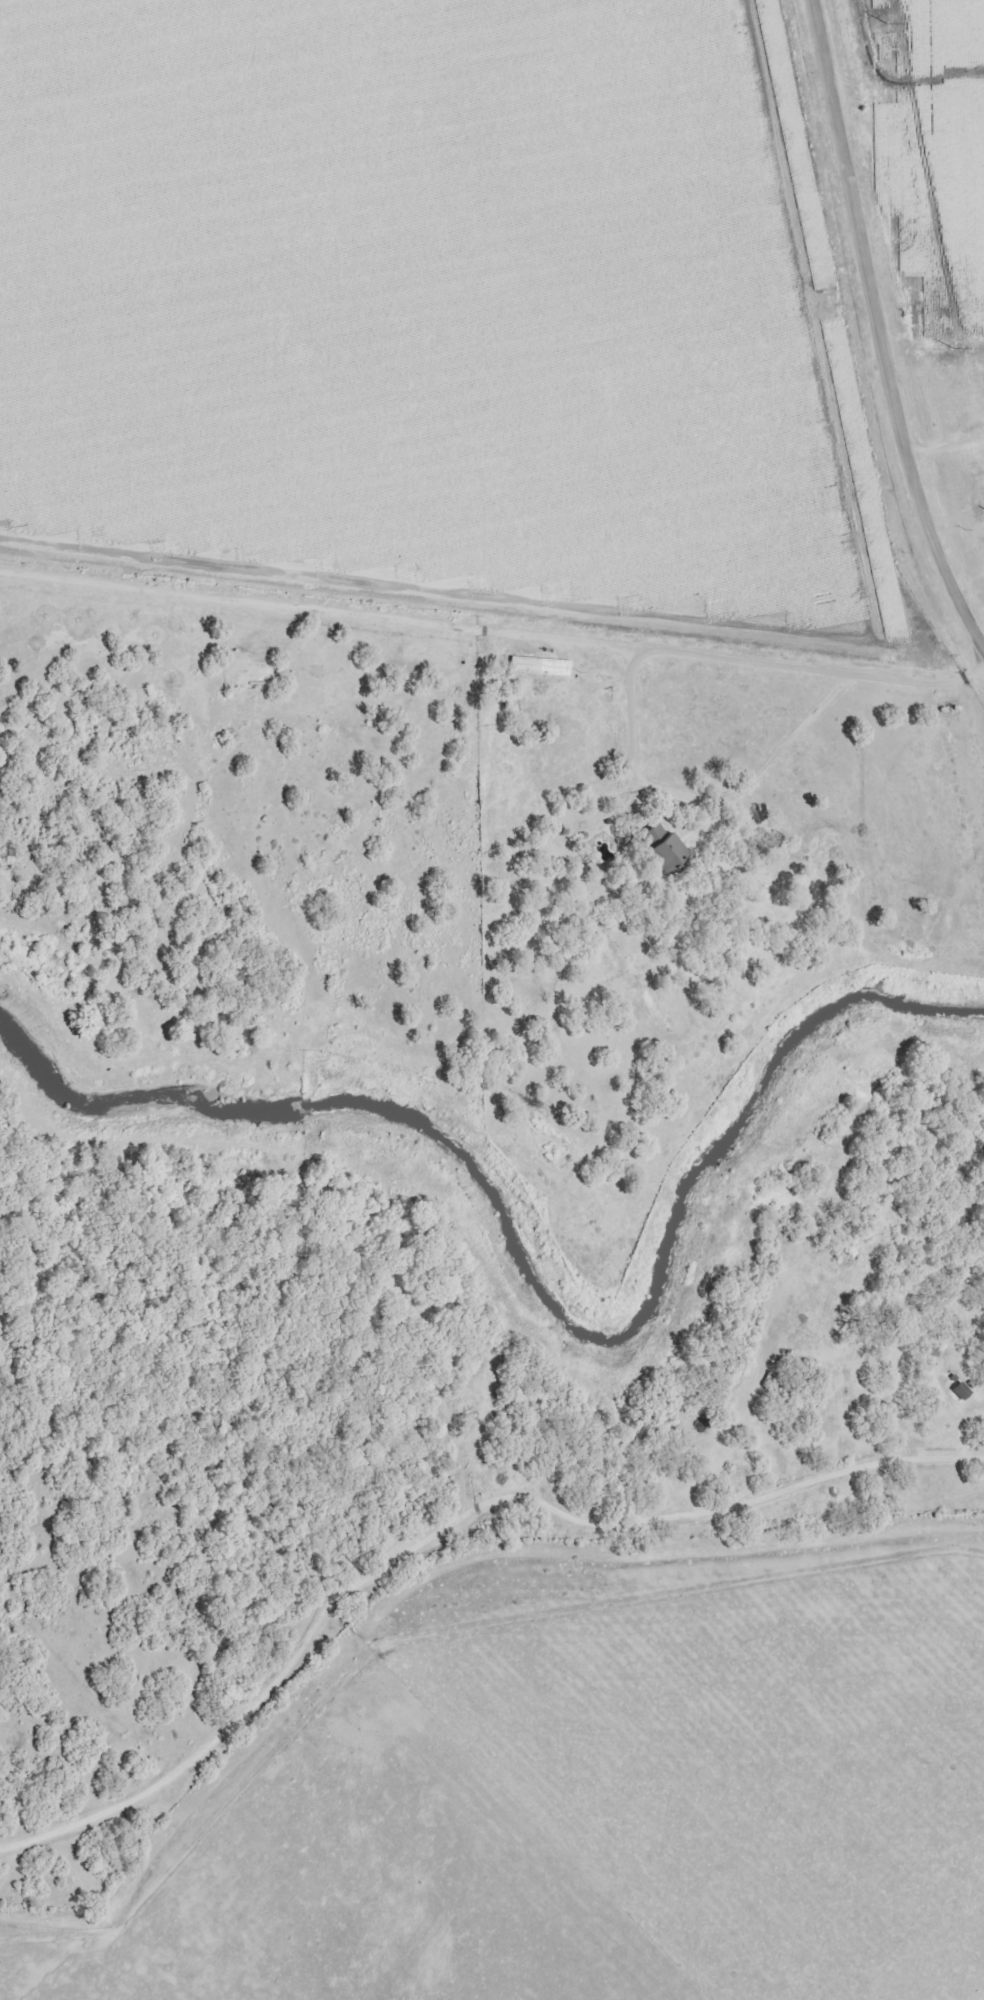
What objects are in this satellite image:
road: (882, 327)
road: (493, 622)
building: (531, 663)
building: (653, 845)
river: (536, 1280)
road: (443, 1524)

